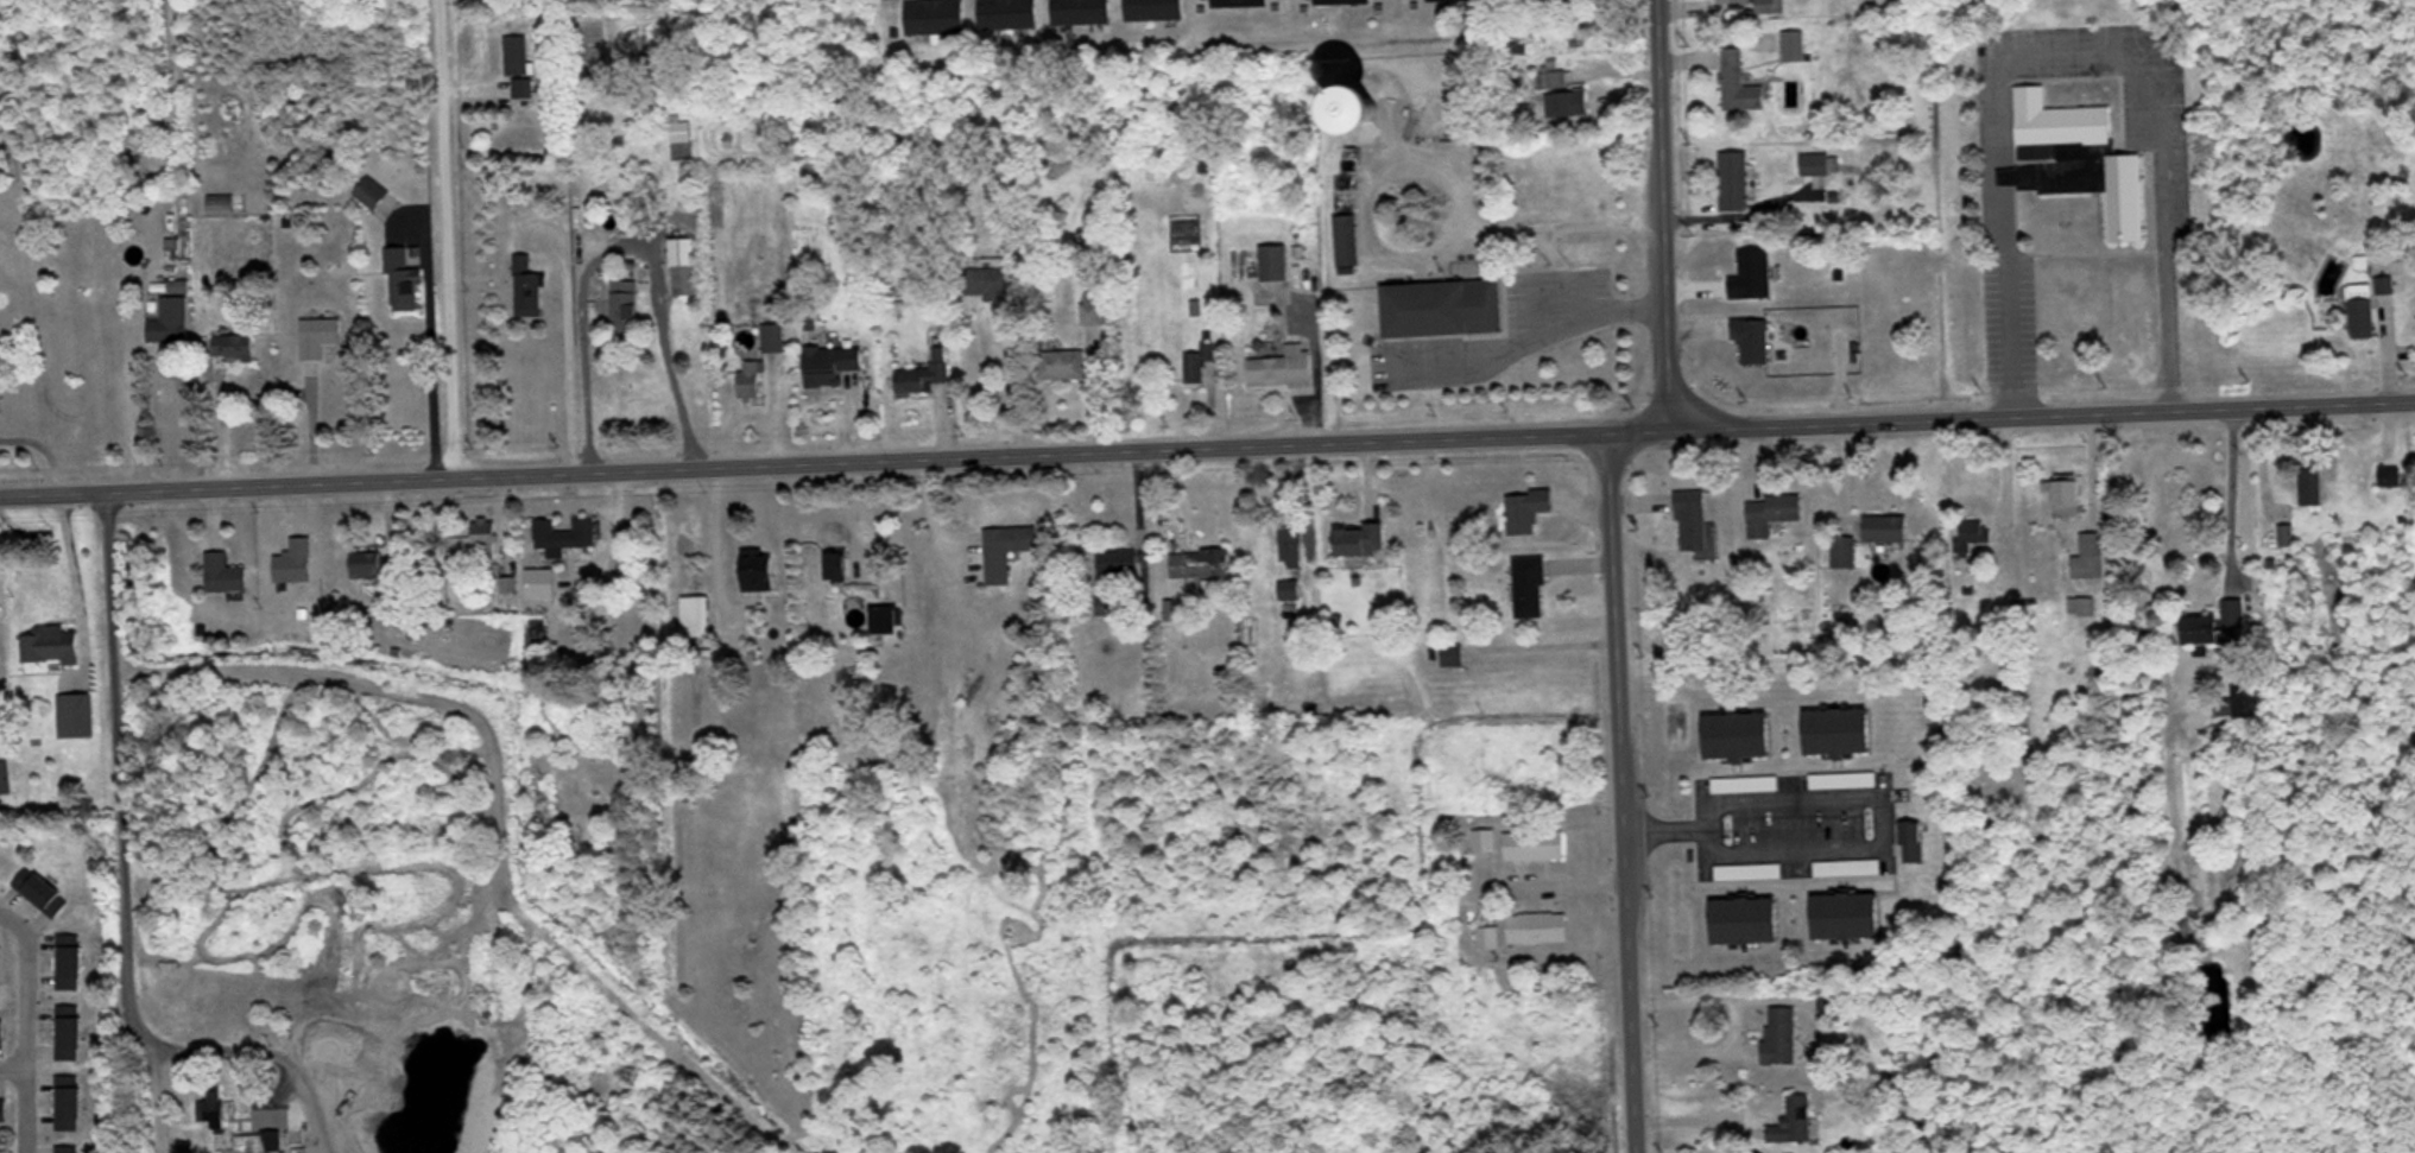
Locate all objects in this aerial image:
building: (1732, 0)
building: (1239, 2)
building: (1342, 2)
building: (1770, 5)
building: (1155, 8)
building: (1082, 11)
building: (1009, 13)
building: (935, 15)
building: (518, 63)
building: (1554, 77)
building: (1739, 82)
building: (1567, 101)
water tower: (1377, 109)
building: (1376, 113)
building: (2074, 158)
building: (1820, 163)
building: (1734, 179)
building: (371, 191)
road: (1658, 214)
road: (447, 236)
building: (1347, 243)
building: (1089, 248)
building: (1273, 261)
building: (684, 265)
building: (402, 279)
building: (982, 281)
building: (527, 287)
building: (2366, 304)
building: (625, 306)
building: (1094, 306)
building: (1442, 306)
building: (166, 329)
building: (318, 335)
building: (773, 336)
building: (1753, 338)
building: (233, 348)
building: (1199, 360)
building: (830, 362)
building: (1062, 363)
building: (1283, 367)
building: (924, 373)
building: (751, 379)
road: (1207, 443)
building: (2396, 475)
building: (2310, 482)
building: (2065, 495)
building: (1528, 508)
building: (1772, 511)
building: (1692, 518)
building: (1885, 526)
building: (1973, 531)
building: (483, 532)
building: (564, 532)
building: (2286, 537)
building: (1360, 538)
building: (1290, 544)
building: (1005, 547)
building: (1842, 549)
building: (2090, 555)
building: (295, 559)
building: (1118, 559)
building: (375, 562)
building: (1200, 562)
building: (836, 564)
building: (758, 569)
building: (225, 572)
building: (540, 581)
building: (1529, 584)
road: (1105, 591)
building: (2081, 603)
building: (695, 614)
building: (2217, 623)
building: (50, 642)
building: (1452, 653)
building: (2240, 702)
building: (76, 712)
building: (1839, 728)
building: (1738, 733)
road: (1614, 791)
road: (1853, 793)
road: (121, 819)
building: (1484, 838)
building: (1911, 838)
building: (1535, 843)
building: (40, 888)
building: (1846, 913)
building: (1746, 918)
building: (1538, 925)
building: (1487, 935)
building: (69, 958)
road: (12, 1006)
building: (1831, 1006)
road: (1731, 1018)
building: (1, 1027)
building: (68, 1030)
road: (23, 1031)
building: (1781, 1033)
road: (11, 1068)
building: (68, 1101)
building: (214, 1107)
building: (2, 1110)
building: (1793, 1119)
building: (271, 1140)
building: (68, 1148)

